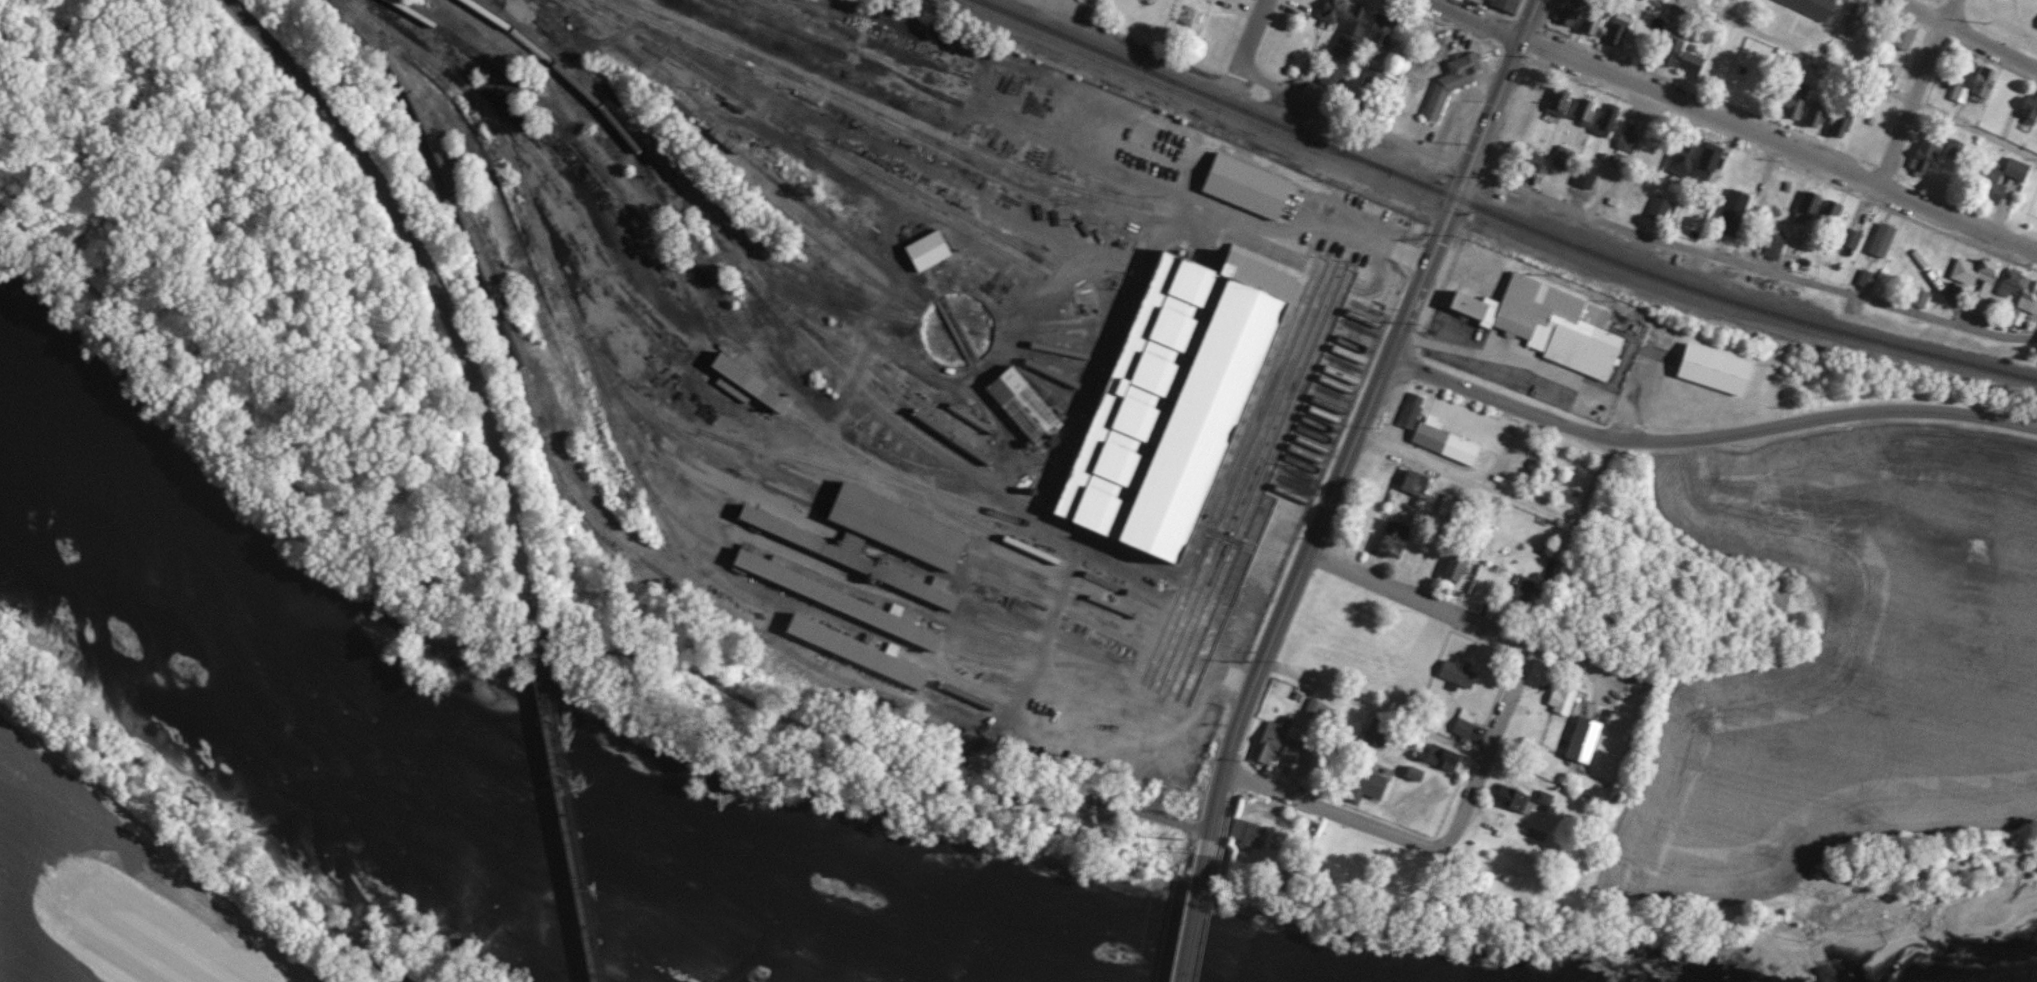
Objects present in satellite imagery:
building: (1502, 6)
building: (1810, 8)
building: (1327, 11)
building: (1341, 13)
building: (1576, 13)
building: (1365, 21)
building: (1601, 23)
building: (1861, 25)
building: (1610, 31)
building: (1393, 33)
building: (1627, 34)
railway: (872, 36)
building: (1897, 38)
road: (1948, 43)
building: (1435, 49)
railway: (846, 51)
building: (1680, 54)
road: (1244, 55)
building: (1343, 64)
railway: (1118, 67)
building: (1381, 85)
road: (1846, 86)
building: (1969, 87)
building: (1987, 90)
building: (1545, 92)
building: (1454, 93)
road: (1917, 98)
road: (1272, 101)
building: (1568, 102)
building: (1553, 103)
building: (1779, 107)
building: (1581, 112)
building: (1804, 112)
building: (2030, 112)
building: (1592, 113)
building: (1815, 113)
railway: (554, 116)
railway: (914, 118)
building: (1826, 120)
railway: (885, 121)
building: (1604, 121)
building: (1840, 124)
building: (1616, 125)
road: (1730, 127)
railway: (624, 130)
building: (1852, 130)
building: (1930, 137)
railway: (821, 144)
building: (1637, 147)
railway: (739, 148)
building: (1956, 149)
railway: (1323, 150)
building: (1931, 155)
building: (1562, 157)
building: (1574, 160)
building: (1728, 160)
building: (1707, 162)
building: (1688, 166)
building: (2016, 169)
building: (1586, 176)
building: (1596, 181)
railway: (689, 185)
building: (1251, 185)
building: (1994, 186)
railway: (913, 188)
building: (2014, 190)
railway: (772, 198)
building: (1659, 207)
building: (1666, 209)
building: (1831, 209)
building: (1811, 213)
railway: (1496, 216)
building: (1743, 218)
railway: (514, 222)
building: (1852, 238)
road: (1372, 239)
road: (1650, 239)
building: (1861, 241)
building: (1773, 245)
building: (1888, 245)
building: (929, 249)
building: (1993, 275)
building: (1867, 278)
building: (1876, 281)
railway: (425, 284)
building: (2022, 287)
railway: (637, 293)
railway: (498, 300)
building: (1926, 301)
building: (2036, 302)
railway: (1033, 308)
railway: (570, 311)
building: (1561, 323)
railway: (1359, 325)
railway: (1037, 326)
railway: (1041, 336)
railway: (973, 362)
road: (1529, 362)
railway: (1039, 365)
railway: (1340, 365)
railway: (902, 370)
building: (1720, 371)
railway: (1334, 374)
railway: (1330, 382)
building: (749, 383)
building: (1192, 401)
railway: (1321, 402)
building: (1030, 405)
building: (1411, 410)
railway: (895, 412)
road: (1889, 412)
railway: (1316, 413)
road: (1356, 422)
railway: (666, 423)
road: (1559, 423)
building: (1448, 440)
railway: (1304, 444)
railway: (1301, 454)
railway: (778, 460)
railway: (1298, 463)
railway: (669, 467)
railway: (836, 468)
railway: (1289, 484)
building: (1422, 487)
railway: (1285, 494)
building: (1447, 505)
building: (1459, 510)
railway: (899, 516)
railway: (688, 524)
building: (895, 524)
railway: (892, 533)
road: (1571, 542)
building: (1402, 548)
railway: (849, 556)
building: (851, 557)
building: (1456, 566)
building: (1467, 572)
railway: (1050, 588)
building: (1527, 593)
road: (1415, 596)
building: (840, 598)
railway: (839, 599)
railway: (1075, 615)
railway: (534, 626)
road: (547, 636)
railway: (537, 639)
railway: (1034, 645)
building: (860, 648)
railway: (860, 648)
road: (1519, 665)
railway: (842, 666)
railway: (1186, 677)
building: (1466, 678)
railway: (1071, 683)
building: (1561, 699)
building: (1572, 701)
building: (1321, 710)
building: (1337, 716)
railway: (1026, 717)
building: (1464, 724)
building: (1473, 727)
road: (1493, 728)
building: (1388, 732)
building: (1378, 733)
building: (1591, 744)
building: (1294, 752)
building: (1449, 759)
building: (1415, 774)
river: (373, 779)
building: (1378, 784)
road: (1272, 789)
building: (1532, 803)
railway: (570, 813)
building: (1247, 831)
road: (1419, 845)
road: (1193, 918)

